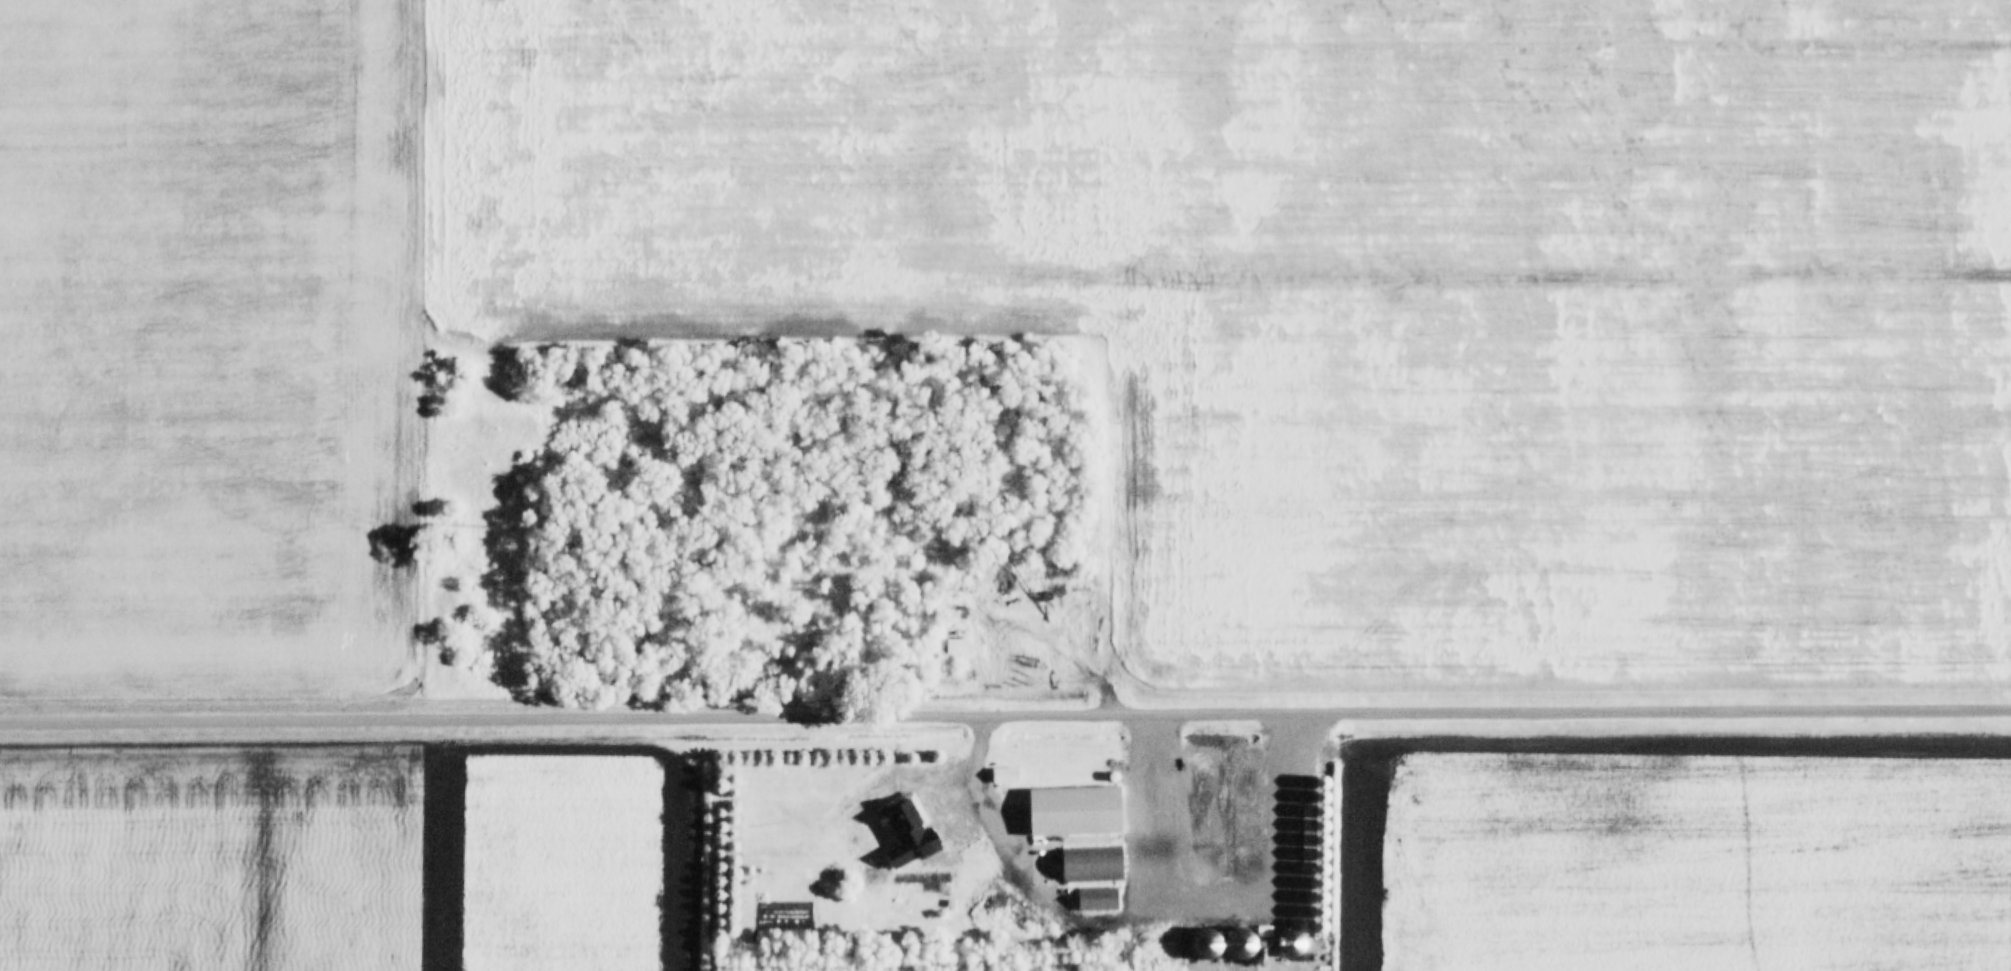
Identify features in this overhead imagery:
power tower: (501, 525)
road: (1005, 712)
road: (980, 803)

